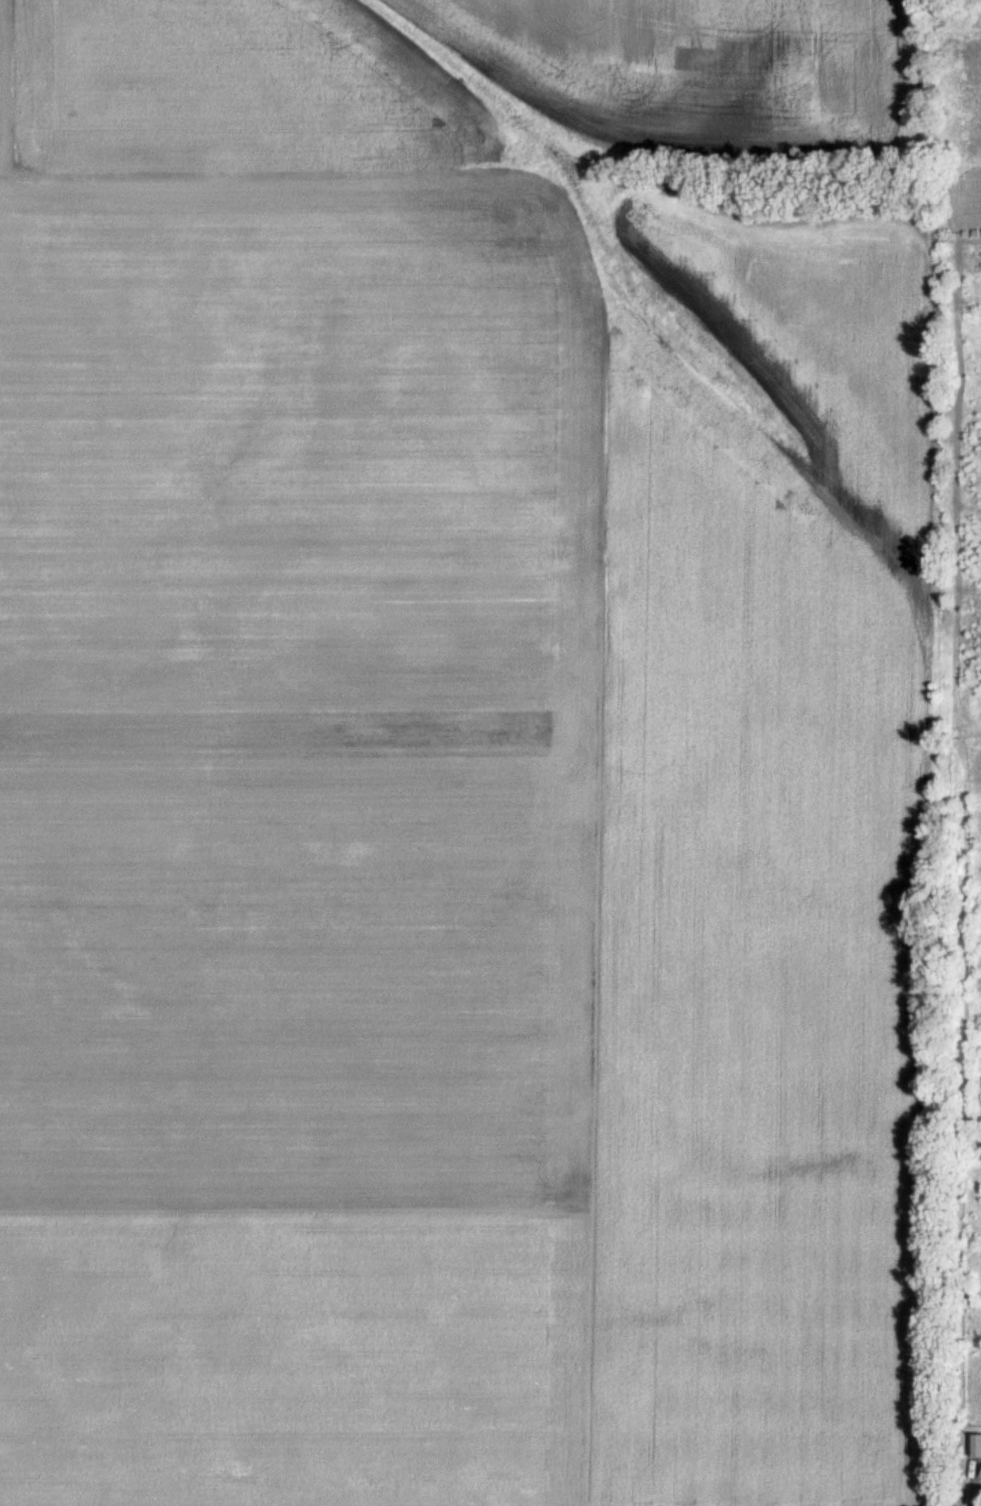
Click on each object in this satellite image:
building: (974, 1445)
building: (979, 1473)

